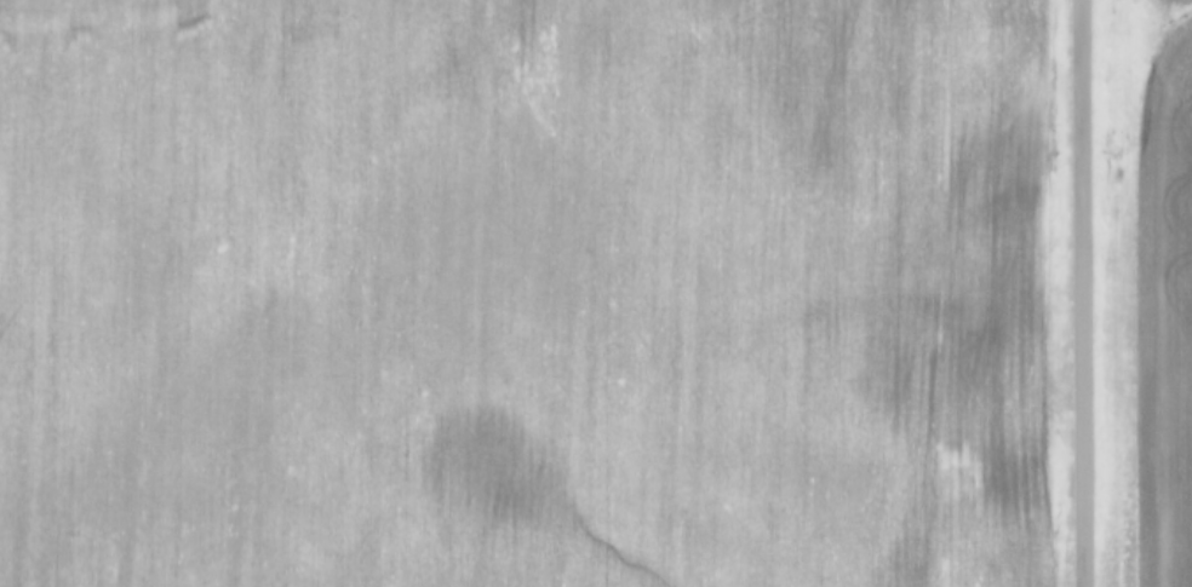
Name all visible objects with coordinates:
road: (1082, 293)

